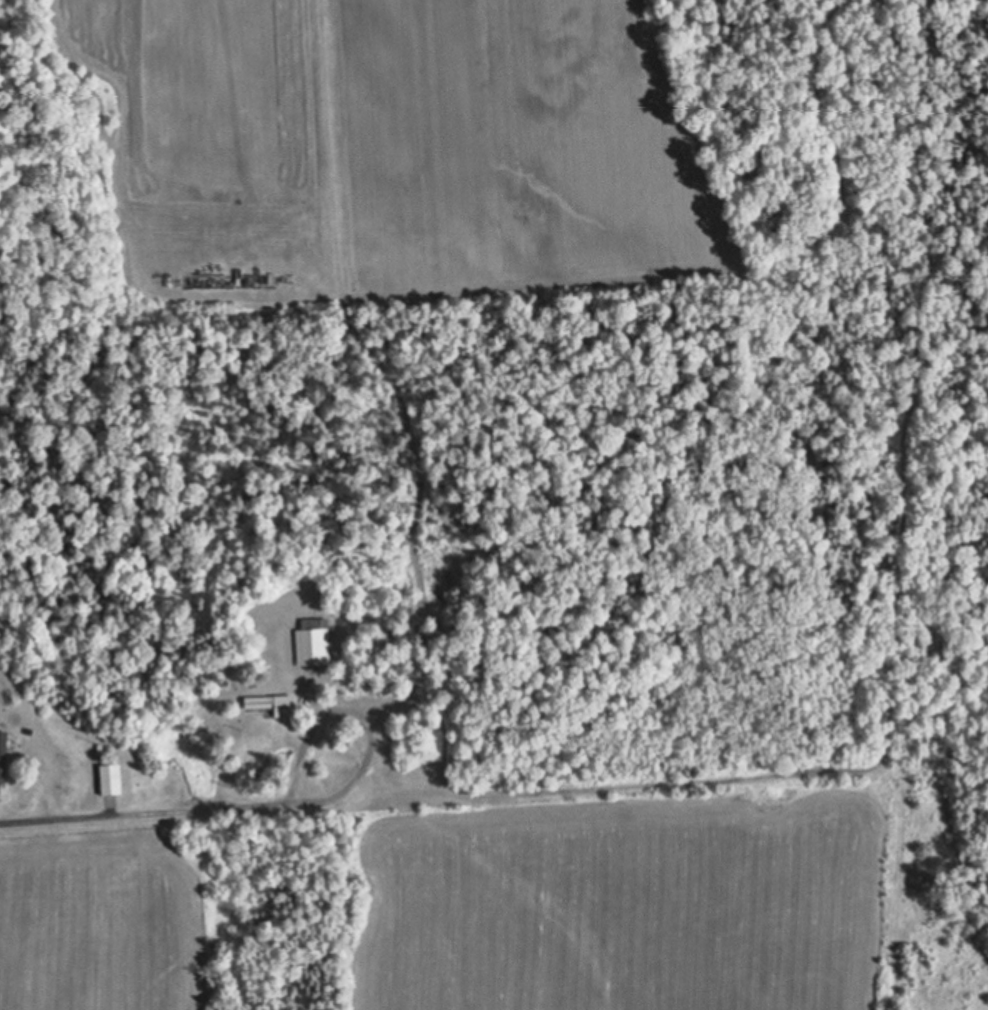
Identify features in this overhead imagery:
building: (312, 640)
building: (272, 702)
building: (2, 753)
building: (109, 777)
road: (353, 783)
road: (142, 812)

